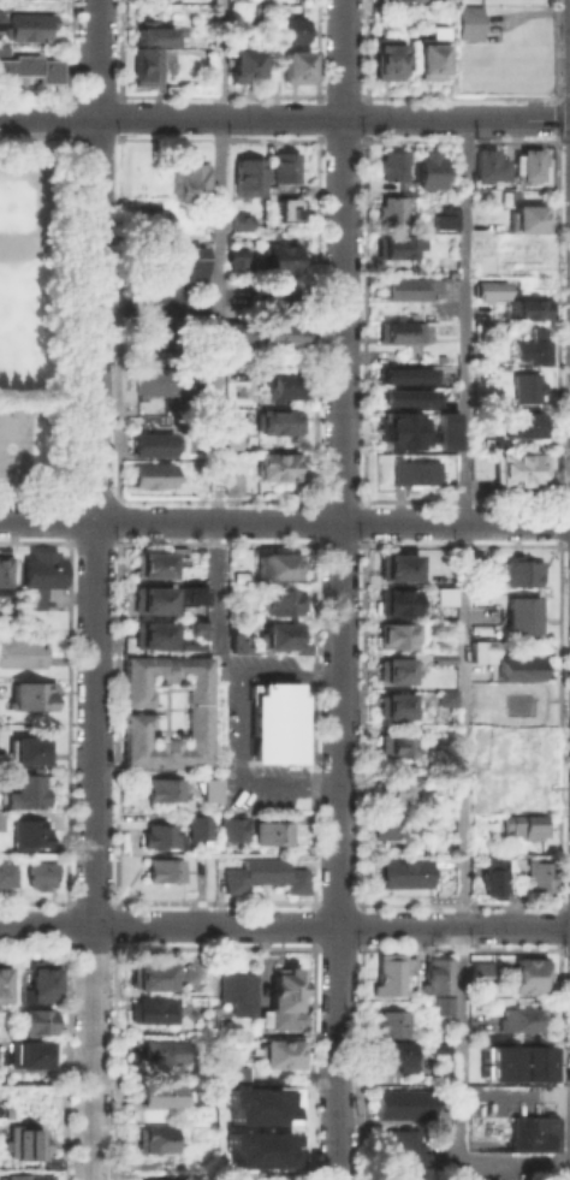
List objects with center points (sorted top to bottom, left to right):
building: (255, 11)
building: (0, 18)
building: (468, 22)
building: (25, 25)
building: (292, 29)
building: (153, 36)
road: (554, 48)
building: (433, 53)
road: (97, 58)
building: (387, 58)
building: (243, 64)
building: (141, 65)
building: (293, 66)
building: (29, 67)
road: (565, 95)
road: (558, 96)
road: (556, 99)
road: (48, 115)
road: (556, 117)
road: (333, 118)
road: (556, 138)
road: (565, 138)
building: (528, 164)
building: (392, 165)
building: (486, 165)
building: (281, 167)
building: (428, 170)
building: (243, 177)
building: (185, 180)
building: (283, 208)
building: (391, 210)
building: (527, 217)
building: (147, 220)
building: (195, 221)
building: (237, 224)
building: (396, 247)
building: (510, 250)
building: (182, 255)
building: (233, 255)
building: (274, 259)
road: (219, 261)
park: (23, 278)
building: (404, 287)
building: (488, 289)
building: (167, 297)
building: (274, 300)
road: (149, 308)
building: (529, 308)
park: (34, 318)
road: (96, 319)
building: (234, 331)
building: (398, 331)
building: (281, 333)
building: (530, 348)
building: (404, 374)
building: (160, 383)
building: (524, 386)
building: (280, 387)
building: (404, 396)
road: (48, 398)
building: (275, 421)
building: (519, 425)
building: (397, 429)
building: (445, 429)
building: (232, 440)
park: (14, 445)
building: (149, 445)
building: (275, 467)
building: (517, 468)
building: (411, 473)
building: (149, 476)
building: (230, 485)
road: (566, 499)
road: (557, 500)
road: (47, 521)
road: (332, 522)
road: (557, 523)
road: (568, 544)
road: (558, 545)
building: (476, 555)
building: (148, 561)
building: (241, 561)
building: (273, 563)
building: (394, 564)
building: (519, 570)
building: (2, 571)
building: (40, 579)
road: (342, 589)
building: (192, 592)
building: (441, 595)
building: (148, 597)
building: (278, 598)
building: (397, 600)
building: (519, 613)
building: (196, 627)
building: (275, 633)
building: (147, 634)
building: (393, 634)
building: (183, 641)
building: (239, 641)
building: (443, 645)
road: (221, 651)
building: (20, 653)
building: (444, 658)
building: (393, 668)
building: (516, 668)
building: (444, 690)
road: (463, 692)
building: (29, 695)
building: (392, 702)
building: (515, 702)
building: (191, 706)
building: (271, 719)
building: (519, 737)
building: (399, 745)
building: (26, 747)
building: (519, 758)
parking lot: (511, 766)
road: (242, 772)
building: (516, 779)
building: (393, 785)
building: (159, 787)
building: (32, 788)
building: (517, 788)
building: (207, 789)
building: (516, 800)
building: (0, 820)
building: (390, 825)
building: (524, 825)
building: (200, 826)
building: (231, 828)
building: (269, 830)
building: (26, 831)
building: (154, 832)
road: (94, 850)
building: (512, 864)
building: (159, 868)
building: (403, 872)
building: (6, 873)
building: (262, 873)
building: (38, 874)
building: (491, 876)
building: (536, 876)
road: (284, 924)
building: (409, 962)
building: (527, 971)
building: (150, 972)
building: (387, 972)
building: (481, 973)
building: (435, 976)
building: (2, 982)
building: (40, 983)
building: (236, 989)
building: (279, 998)
building: (444, 1004)
building: (152, 1008)
building: (519, 1018)
building: (36, 1019)
building: (391, 1021)
building: (439, 1048)
building: (153, 1049)
building: (280, 1051)
building: (29, 1054)
building: (394, 1054)
building: (499, 1057)
building: (532, 1057)
building: (234, 1072)
building: (158, 1093)
building: (404, 1103)
building: (257, 1105)
building: (532, 1132)
building: (152, 1137)
building: (26, 1142)
building: (257, 1149)
building: (397, 1154)
building: (24, 1175)

